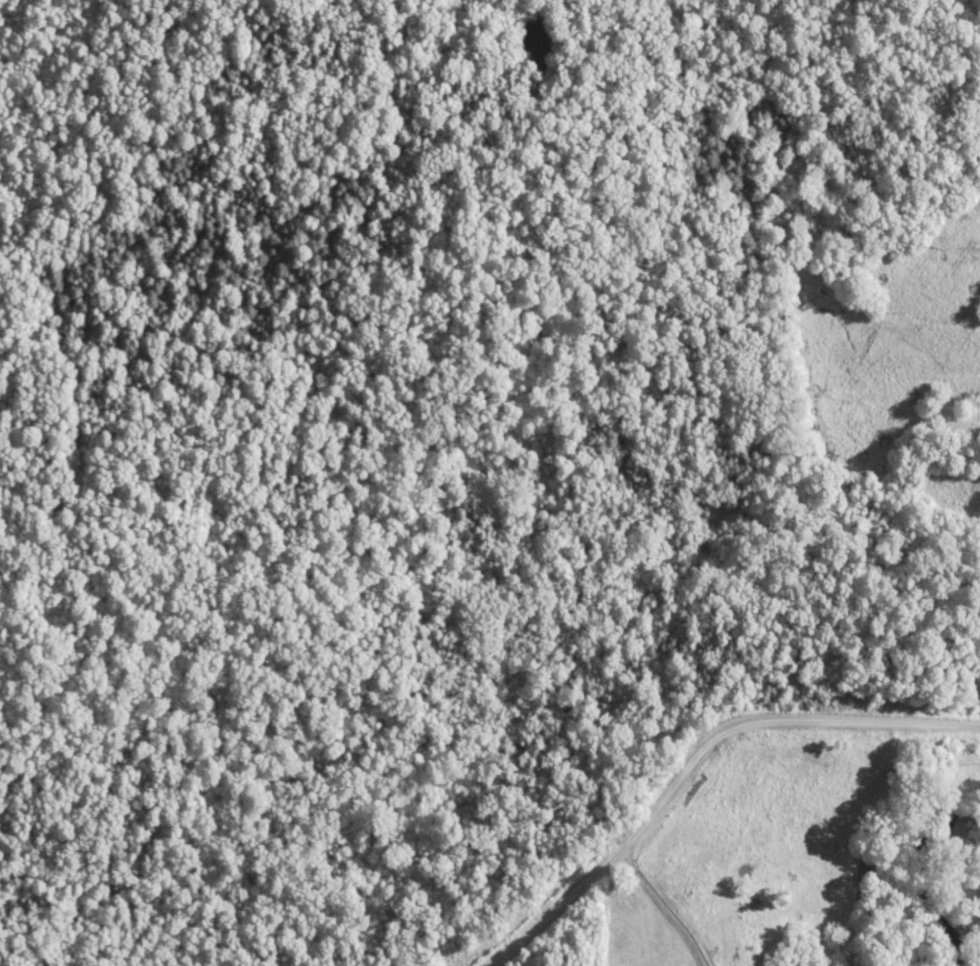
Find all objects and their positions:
road: (701, 759)
road: (657, 909)

